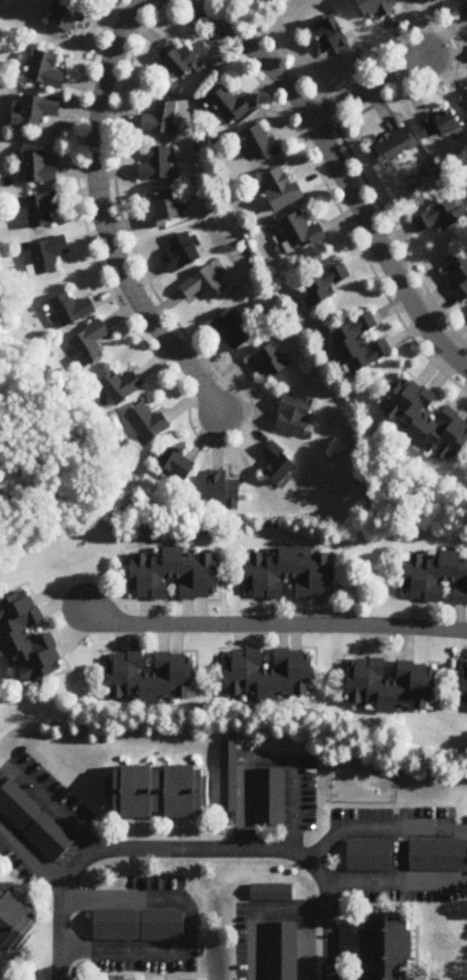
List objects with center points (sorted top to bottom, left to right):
building: (426, 0)
building: (368, 8)
building: (464, 10)
building: (70, 15)
building: (325, 37)
building: (183, 62)
building: (47, 71)
road: (367, 86)
building: (463, 100)
building: (230, 108)
building: (36, 112)
building: (160, 120)
building: (433, 125)
building: (386, 145)
building: (259, 146)
building: (157, 166)
building: (40, 169)
road: (342, 176)
building: (275, 190)
building: (43, 210)
building: (164, 211)
building: (435, 217)
road: (104, 218)
building: (296, 232)
building: (182, 254)
building: (48, 256)
building: (455, 276)
building: (205, 285)
building: (318, 286)
building: (72, 310)
building: (466, 312)
building: (233, 330)
building: (89, 345)
building: (353, 346)
building: (269, 363)
building: (122, 388)
building: (295, 415)
building: (420, 421)
building: (147, 423)
building: (178, 464)
building: (278, 464)
building: (225, 491)
building: (290, 574)
building: (177, 575)
building: (436, 576)
road: (278, 626)
building: (28, 640)
building: (269, 675)
building: (152, 678)
building: (391, 686)
building: (465, 695)
road: (269, 758)
building: (229, 777)
building: (160, 788)
parking lot: (270, 795)
building: (270, 799)
road: (50, 804)
parking lot: (34, 822)
building: (34, 824)
road: (381, 828)
parking lot: (436, 851)
road: (190, 852)
parking lot: (368, 852)
road: (32, 855)
road: (398, 855)
building: (434, 855)
building: (368, 856)
road: (395, 882)
building: (272, 893)
road: (257, 910)
road: (328, 917)
building: (15, 918)
road: (59, 921)
parking lot: (134, 922)
road: (191, 926)
building: (139, 927)
road: (305, 944)
building: (387, 946)
parking lot: (281, 949)
building: (282, 952)

